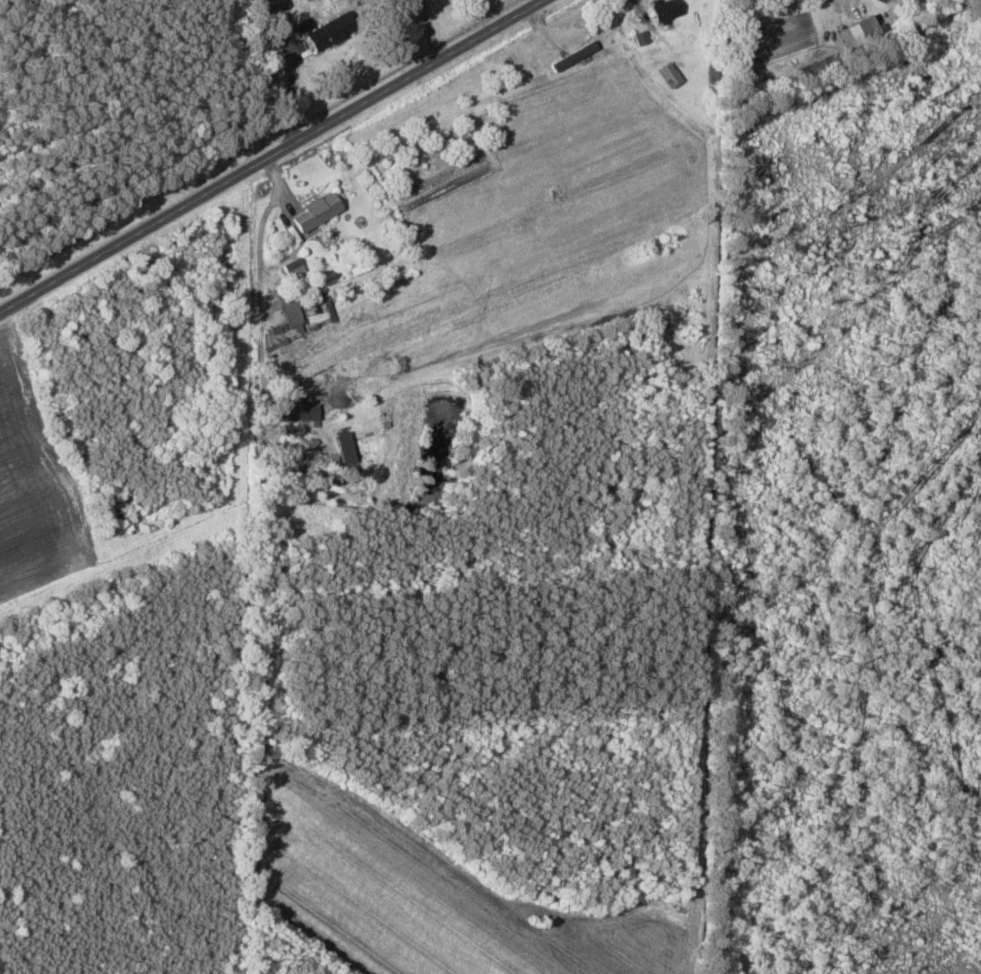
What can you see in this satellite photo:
building: (306, 0)
building: (275, 5)
building: (665, 9)
building: (330, 31)
building: (859, 31)
building: (641, 38)
road: (287, 92)
road: (276, 158)
building: (317, 211)
road: (259, 231)
building: (291, 314)
building: (300, 411)
building: (345, 447)

